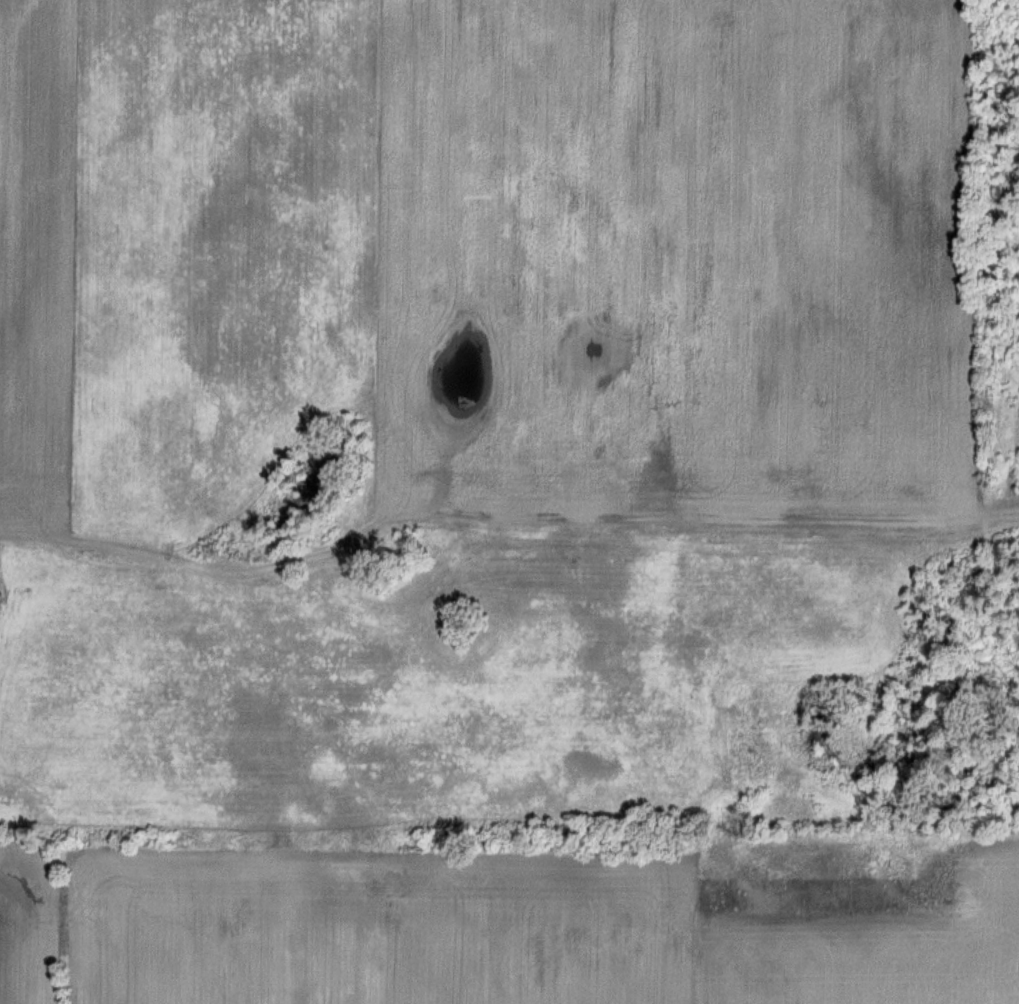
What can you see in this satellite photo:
park: (991, 26)

